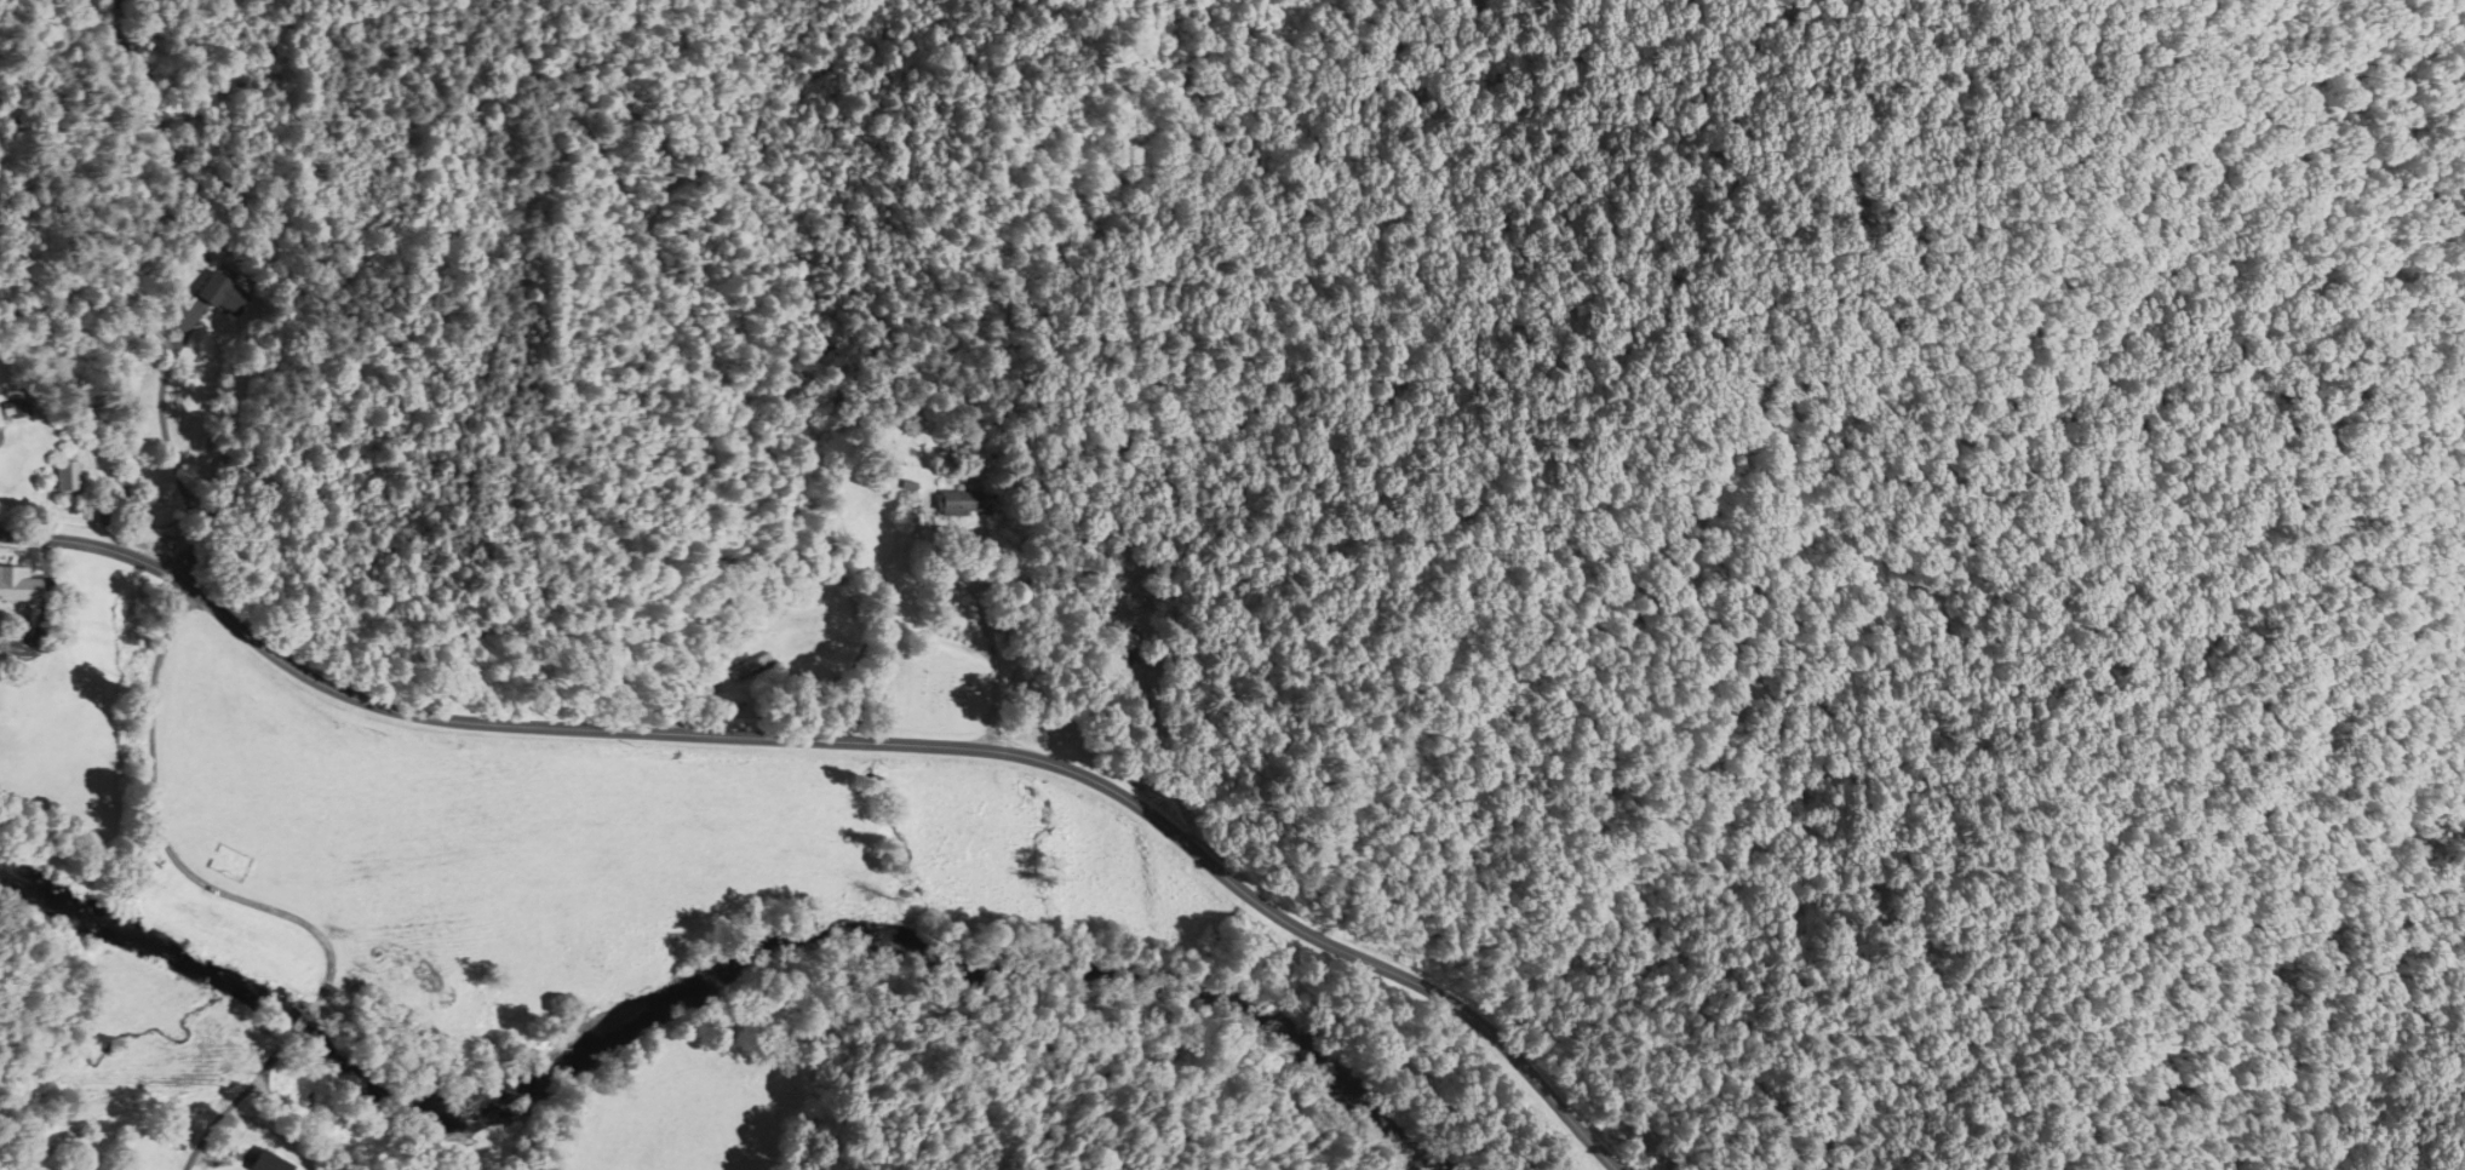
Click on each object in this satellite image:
building: (173, 289)
building: (219, 293)
building: (63, 478)
building: (956, 503)
road: (193, 543)
building: (15, 585)
building: (745, 667)
park: (938, 689)
road: (855, 738)
road: (298, 1023)
road: (231, 1100)
road: (128, 1111)
road: (302, 1125)

